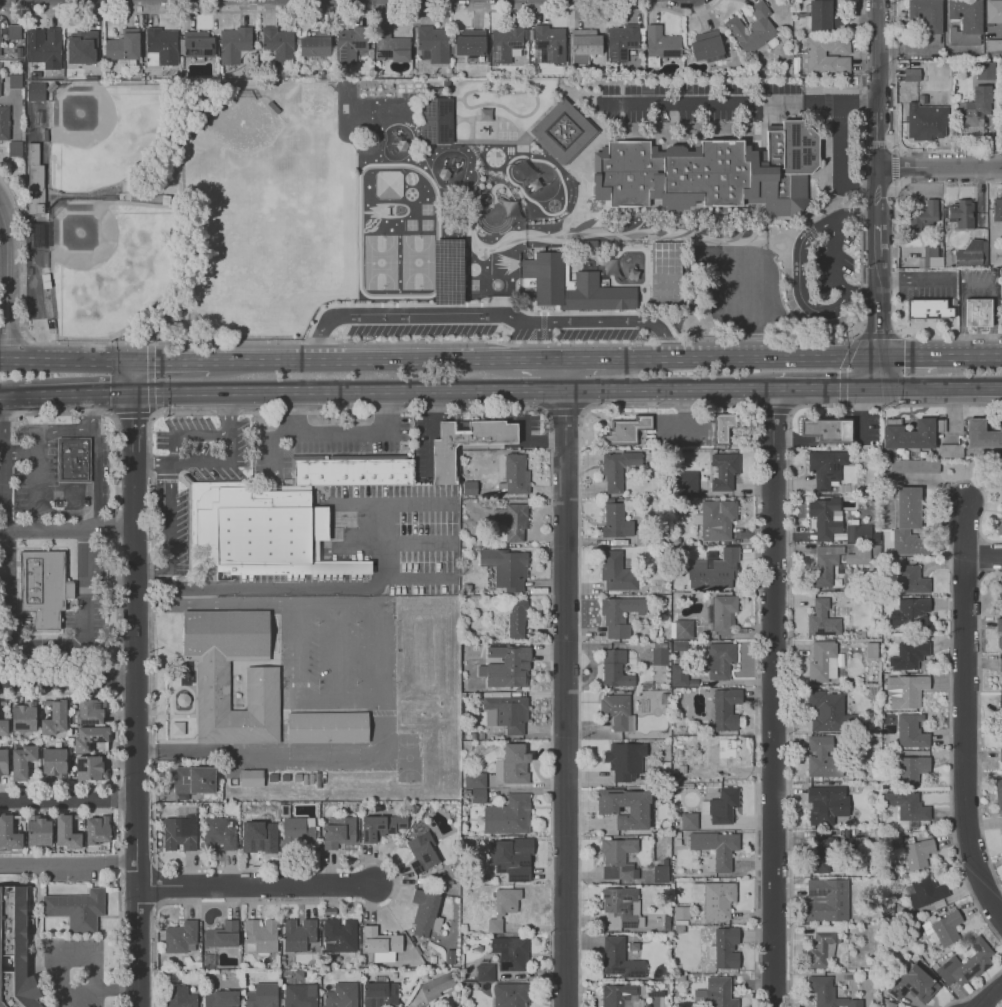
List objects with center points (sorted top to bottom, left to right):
road: (375, 10)
building: (993, 12)
building: (821, 16)
building: (965, 21)
building: (925, 22)
building: (753, 28)
building: (15, 32)
building: (1, 41)
building: (624, 41)
building: (548, 43)
building: (235, 44)
building: (255, 44)
building: (314, 44)
building: (351, 44)
building: (434, 44)
building: (508, 44)
building: (279, 45)
building: (585, 45)
building: (661, 45)
building: (124, 46)
building: (198, 46)
building: (391, 46)
building: (472, 46)
building: (994, 46)
building: (45, 47)
building: (81, 47)
building: (161, 47)
building: (709, 47)
building: (0, 55)
building: (822, 56)
building: (984, 73)
building: (285, 74)
building: (648, 74)
building: (176, 75)
building: (185, 75)
building: (911, 75)
road: (895, 76)
building: (91, 78)
building: (1, 80)
building: (15, 82)
building: (445, 84)
building: (35, 91)
road: (701, 103)
road: (838, 103)
road: (876, 107)
building: (978, 113)
building: (436, 119)
building: (929, 122)
building: (4, 123)
park: (106, 131)
building: (563, 131)
road: (860, 145)
building: (14, 148)
road: (895, 161)
road: (839, 164)
road: (939, 167)
building: (34, 171)
building: (710, 171)
building: (997, 209)
building: (961, 213)
building: (924, 215)
road: (3, 217)
road: (878, 233)
building: (972, 253)
building: (706, 254)
building: (930, 257)
park: (112, 262)
road: (833, 262)
road: (4, 265)
road: (799, 271)
building: (667, 274)
road: (878, 274)
road: (916, 278)
road: (7, 281)
building: (548, 282)
road: (976, 288)
building: (1000, 299)
building: (927, 308)
building: (977, 312)
road: (489, 314)
traffic signals: (880, 331)
road: (880, 341)
road: (969, 357)
traffic signals: (904, 358)
road: (908, 358)
road: (742, 359)
road: (539, 360)
road: (586, 360)
road: (359, 361)
road: (65, 362)
traffic signals: (154, 363)
road: (170, 363)
road: (132, 377)
road: (941, 386)
road: (826, 387)
traffic signals: (841, 387)
road: (451, 389)
traffic signals: (110, 392)
road: (75, 393)
road: (9, 394)
road: (229, 412)
road: (685, 416)
traffic signals: (132, 419)
road: (0, 424)
road: (131, 427)
building: (625, 428)
building: (724, 429)
building: (826, 429)
road: (54, 431)
road: (340, 432)
building: (982, 433)
road: (429, 434)
building: (909, 434)
road: (531, 442)
road: (0, 445)
road: (271, 445)
building: (948, 450)
road: (19, 454)
building: (444, 456)
building: (72, 459)
road: (96, 461)
road: (173, 463)
building: (1001, 464)
building: (913, 465)
building: (825, 467)
building: (351, 469)
building: (616, 469)
building: (723, 470)
building: (515, 474)
building: (685, 482)
building: (468, 487)
road: (1, 492)
road: (38, 492)
road: (90, 497)
road: (356, 504)
road: (173, 515)
building: (824, 516)
building: (716, 518)
building: (615, 520)
building: (908, 521)
building: (511, 522)
building: (999, 525)
road: (66, 530)
building: (261, 530)
building: (857, 533)
road: (415, 542)
building: (856, 555)
road: (982, 556)
building: (825, 566)
building: (506, 567)
building: (616, 571)
building: (713, 571)
road: (416, 577)
building: (910, 579)
building: (42, 586)
road: (334, 586)
building: (1000, 592)
road: (216, 603)
building: (722, 612)
building: (910, 612)
building: (618, 614)
building: (516, 618)
building: (821, 619)
building: (680, 629)
building: (998, 632)
road: (45, 643)
building: (911, 654)
building: (658, 655)
building: (719, 659)
building: (822, 661)
building: (1000, 664)
building: (507, 666)
building: (614, 668)
road: (299, 669)
road: (336, 670)
building: (678, 674)
road: (67, 680)
road: (566, 683)
building: (262, 687)
building: (905, 689)
road: (773, 697)
building: (725, 708)
building: (1000, 708)
building: (616, 709)
road: (374, 710)
building: (505, 710)
building: (89, 711)
building: (825, 711)
road: (963, 711)
building: (23, 717)
building: (54, 717)
building: (3, 726)
building: (327, 726)
building: (910, 730)
road: (134, 734)
building: (89, 737)
road: (183, 750)
building: (723, 755)
building: (823, 756)
park: (408, 757)
building: (999, 757)
building: (624, 759)
building: (21, 760)
building: (3, 761)
building: (52, 761)
building: (513, 763)
building: (89, 767)
building: (911, 768)
building: (30, 770)
building: (250, 777)
building: (192, 779)
building: (476, 785)
building: (998, 794)
road: (67, 799)
building: (826, 803)
building: (906, 805)
building: (721, 806)
building: (624, 807)
building: (507, 815)
building: (688, 820)
building: (16, 823)
building: (379, 826)
building: (339, 828)
building: (96, 829)
building: (38, 831)
building: (298, 831)
building: (65, 832)
building: (218, 833)
building: (257, 833)
building: (8, 834)
building: (420, 847)
building: (716, 847)
building: (917, 853)
building: (820, 856)
building: (510, 857)
building: (617, 858)
road: (68, 865)
building: (659, 874)
road: (255, 885)
building: (923, 891)
building: (713, 897)
building: (825, 899)
building: (502, 907)
building: (620, 907)
building: (425, 912)
building: (680, 912)
building: (942, 926)
building: (298, 933)
building: (259, 934)
building: (179, 935)
building: (221, 935)
building: (380, 943)
building: (822, 946)
building: (723, 948)
road: (80, 952)
building: (510, 952)
building: (15, 955)
building: (618, 958)
building: (965, 964)
building: (484, 971)
building: (913, 983)
building: (437, 984)
building: (718, 992)
building: (827, 993)
building: (340, 994)
building: (379, 994)
building: (511, 994)
building: (618, 994)
building: (261, 995)
building: (299, 995)
building: (178, 996)
building: (220, 998)
road: (990, 998)
building: (425, 1006)

